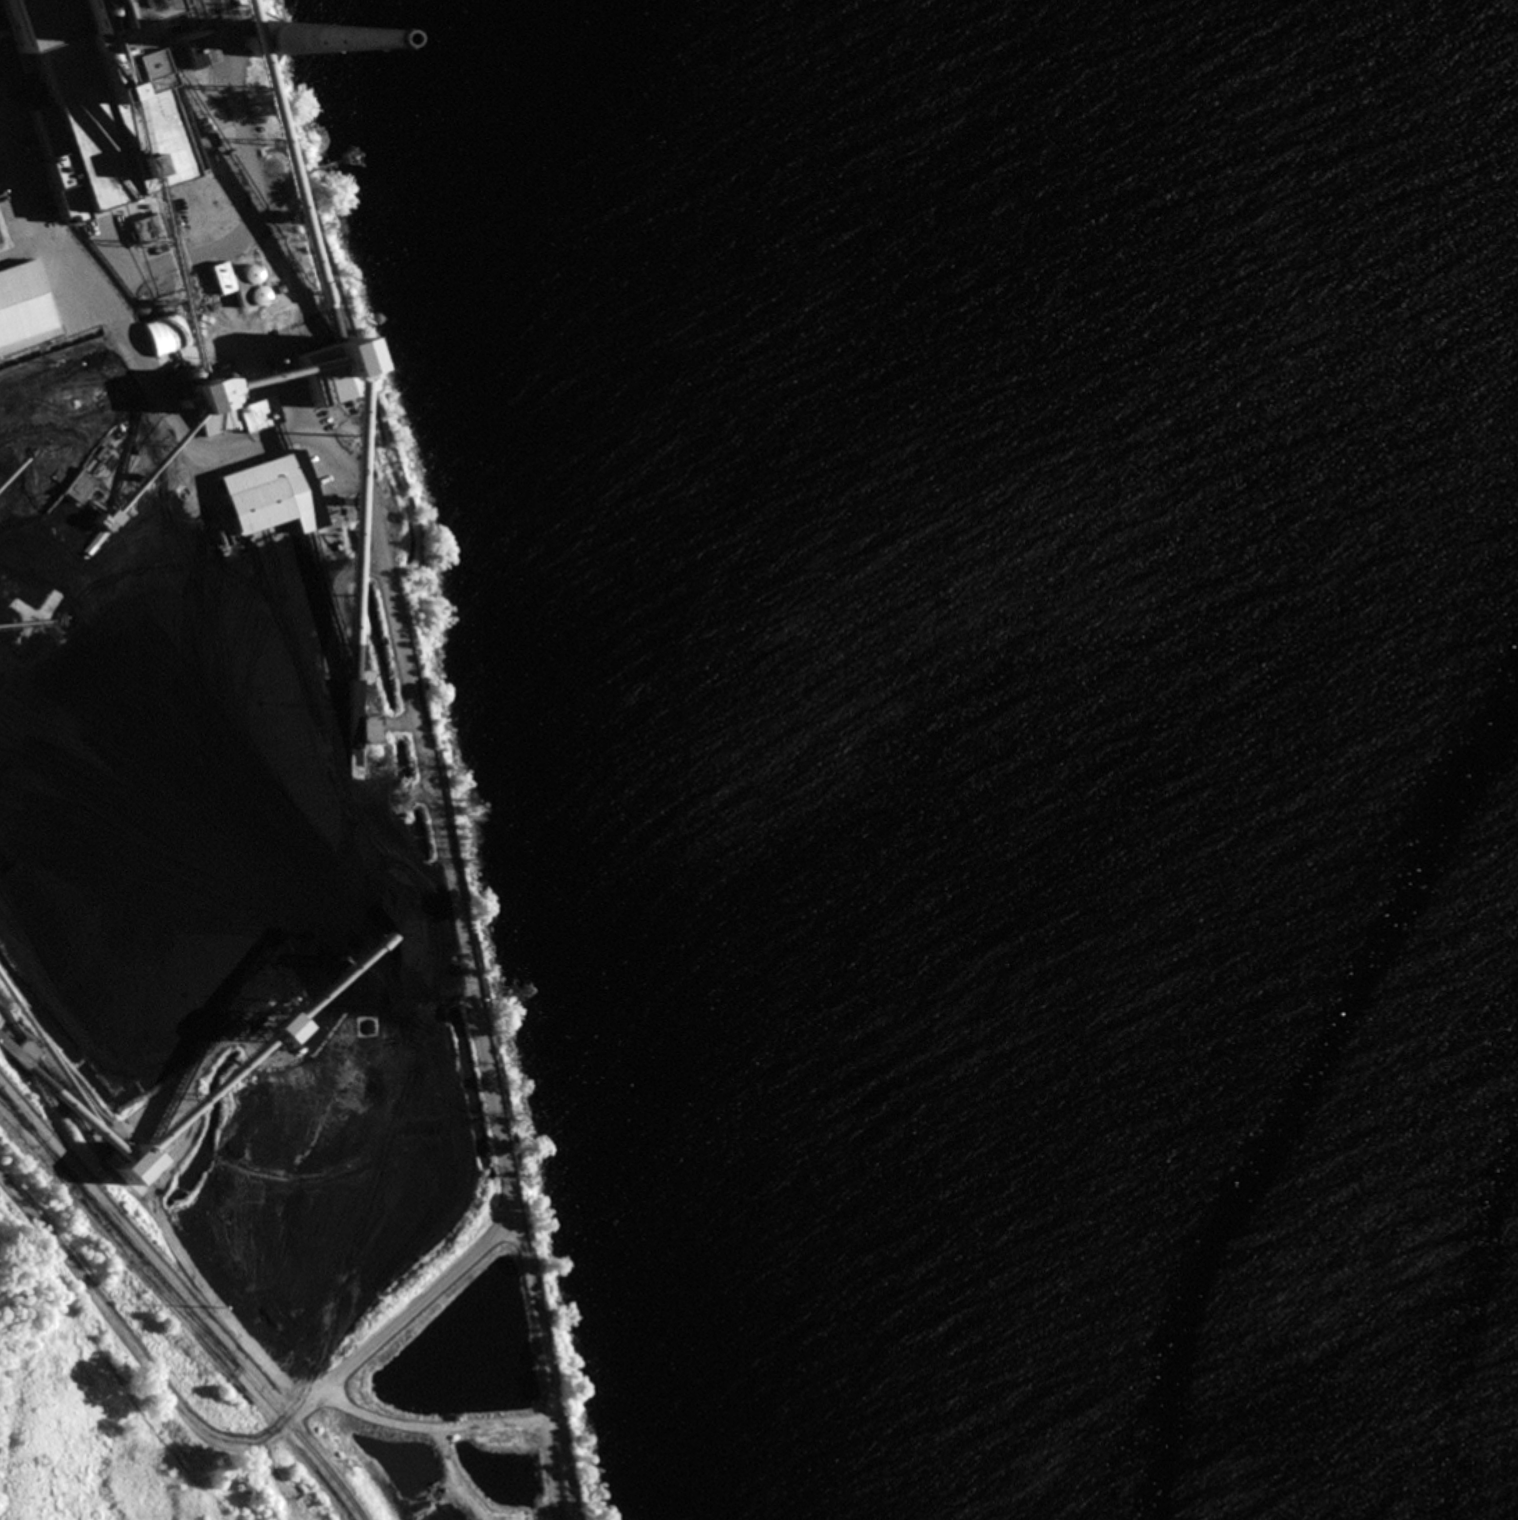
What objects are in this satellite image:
chimney: (253, 45)
building: (101, 93)
building: (205, 141)
building: (284, 181)
road: (17, 247)
road: (44, 277)
building: (239, 284)
building: (17, 306)
road: (247, 343)
road: (193, 347)
road: (164, 355)
road: (289, 370)
road: (155, 396)
building: (260, 414)
building: (214, 421)
road: (176, 435)
road: (263, 446)
building: (271, 496)
building: (369, 730)
power plant: (249, 837)
railway: (15, 1117)
railway: (181, 1306)
railway: (181, 1316)
railway: (176, 1317)

